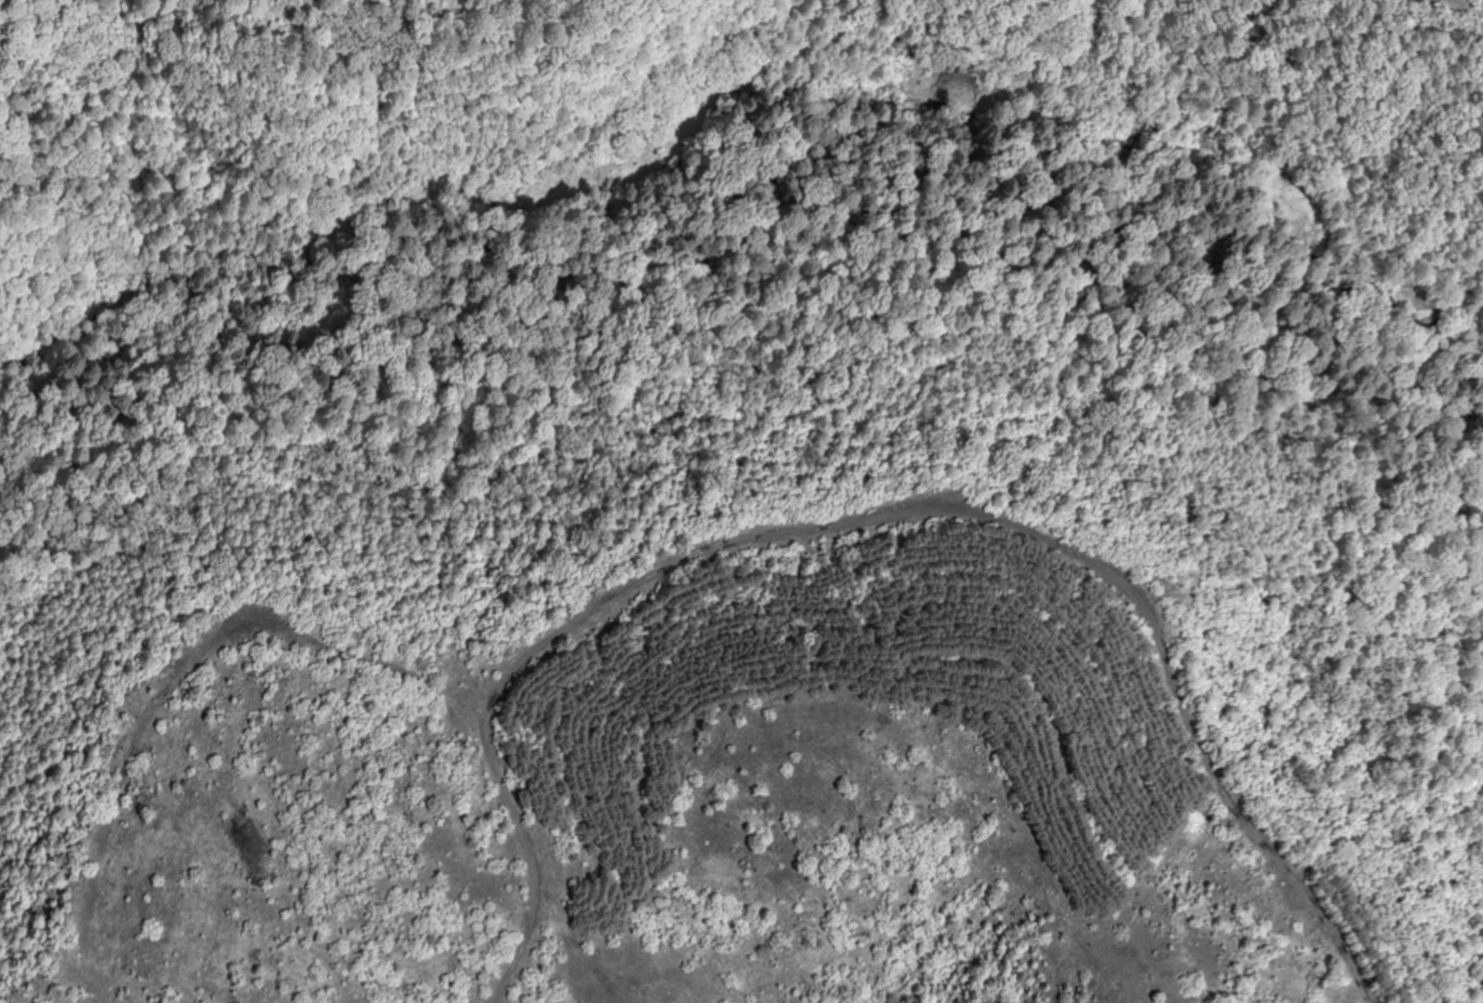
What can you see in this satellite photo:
quarry: (9, 19)

